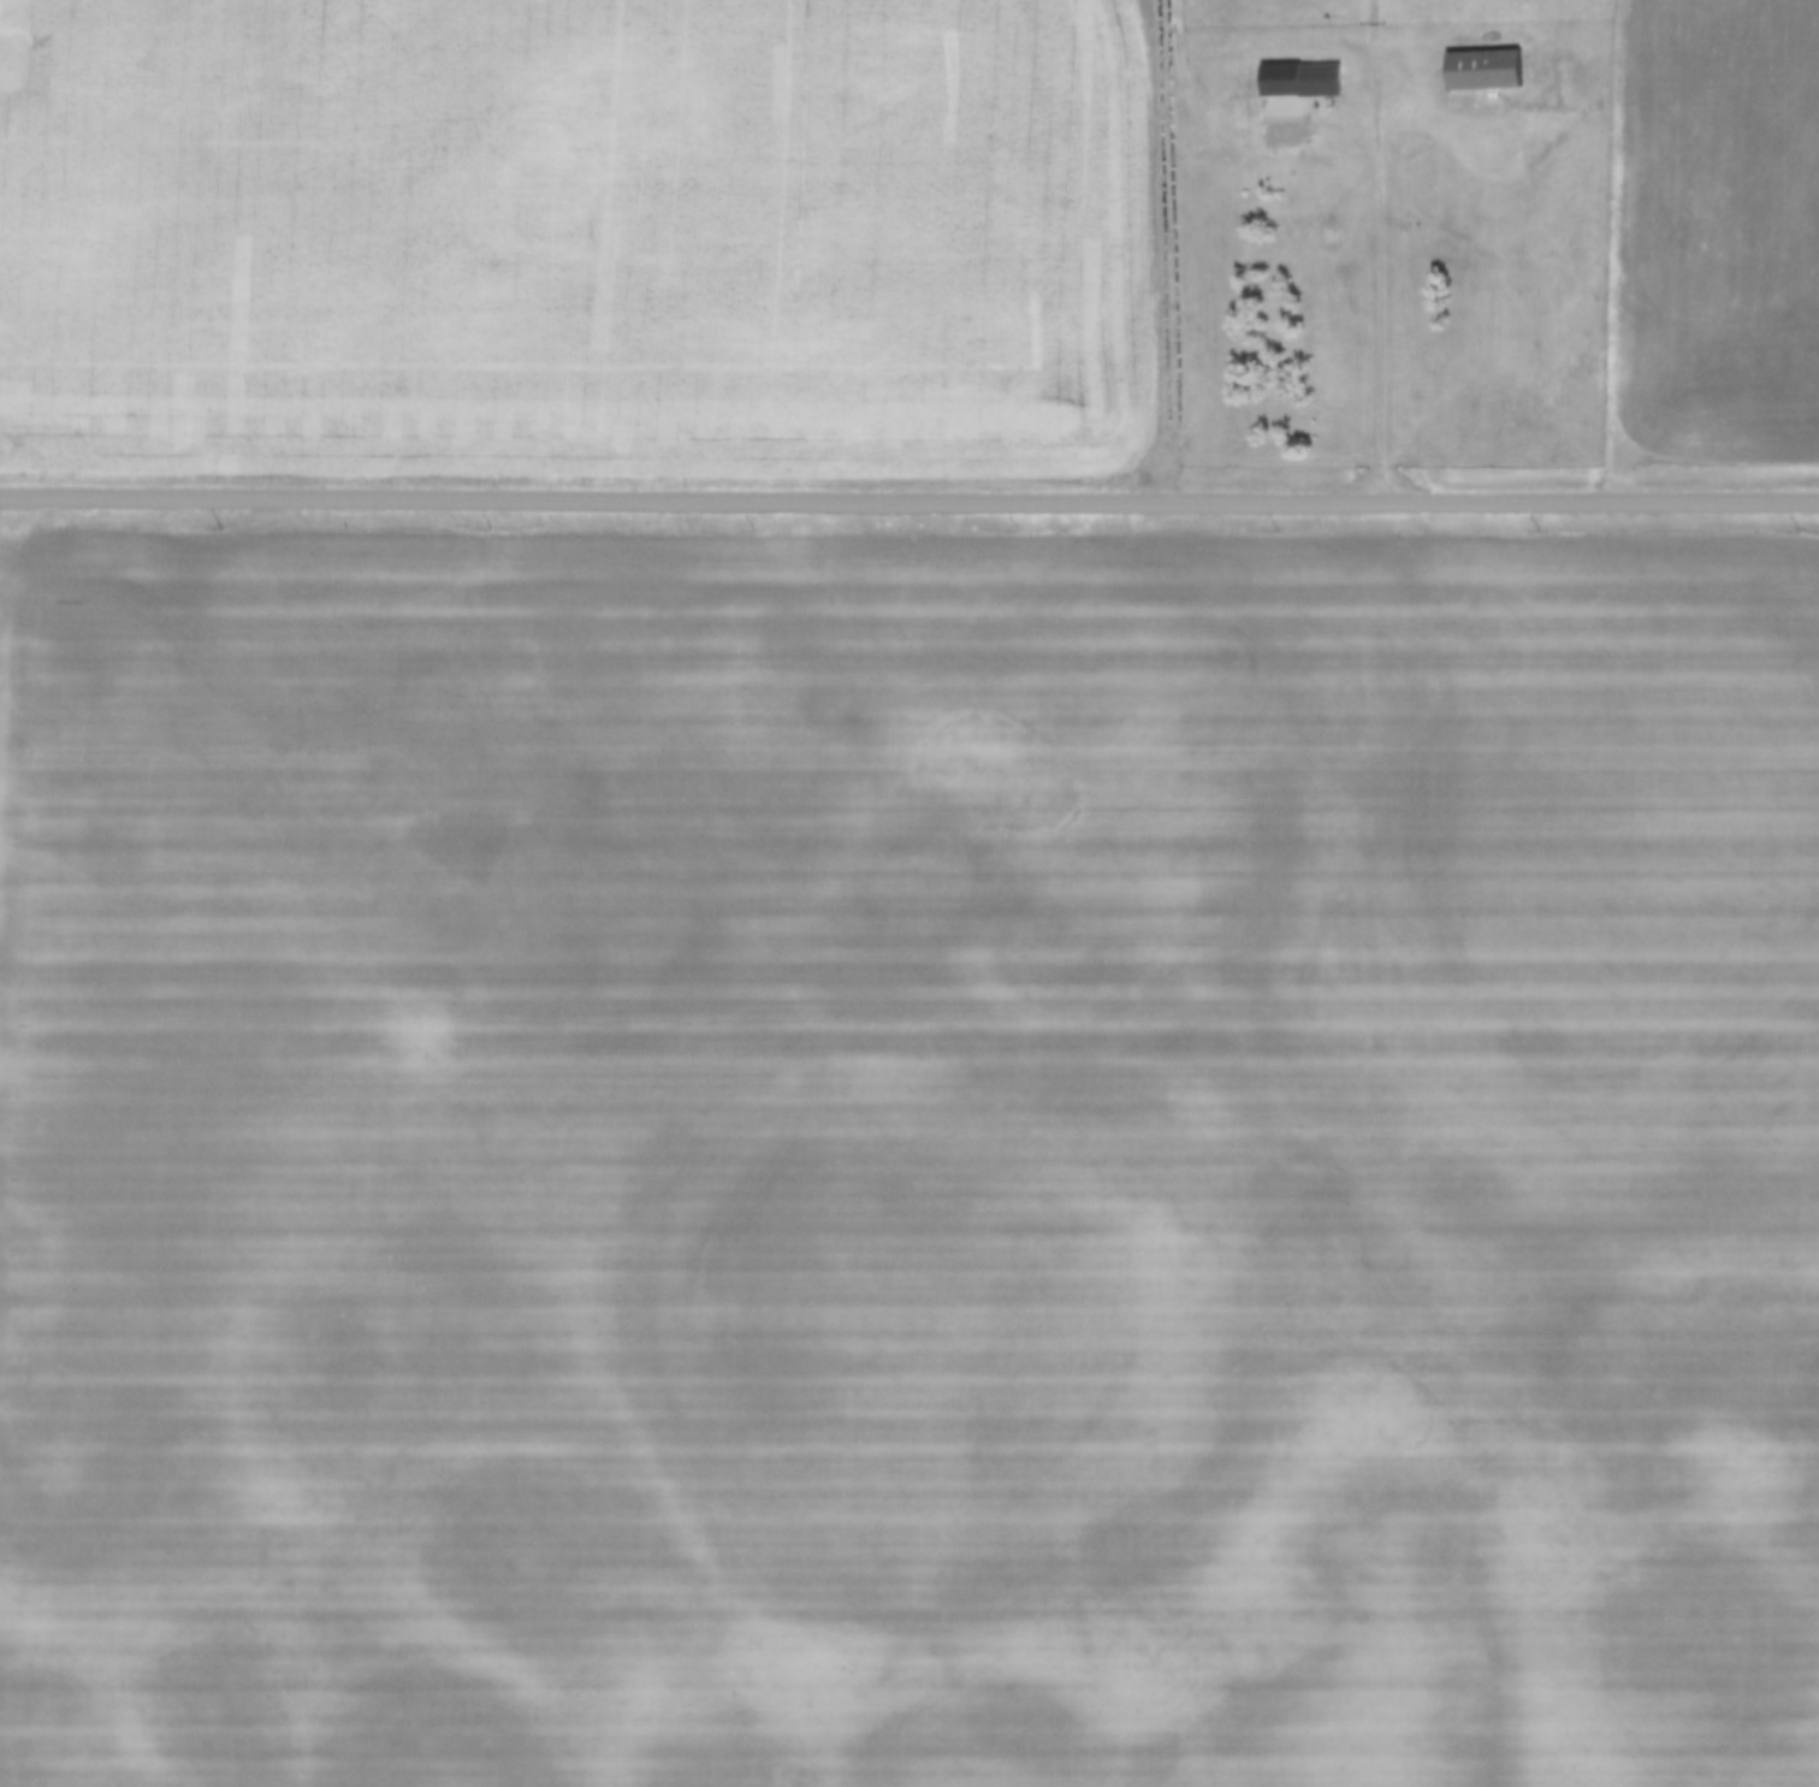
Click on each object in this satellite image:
road: (1367, 11)
building: (1291, 65)
building: (1498, 160)
road: (1377, 260)
road: (908, 498)

